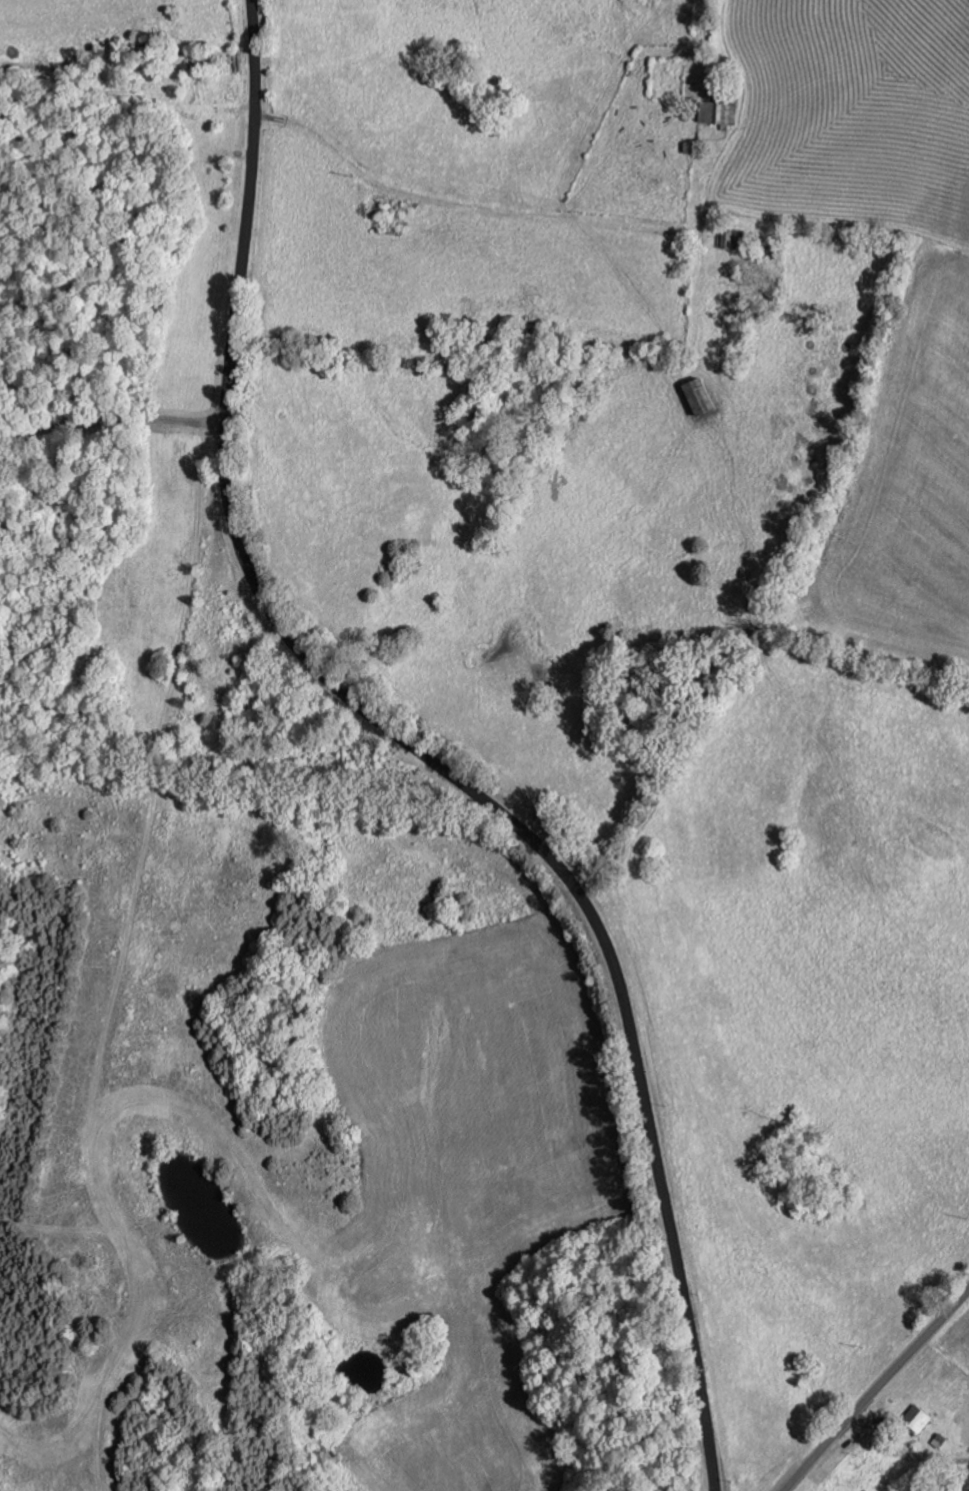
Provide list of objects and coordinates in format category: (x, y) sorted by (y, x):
building: (724, 112)
road: (456, 217)
road: (112, 421)
road: (418, 754)
road: (875, 1389)
building: (914, 1419)

